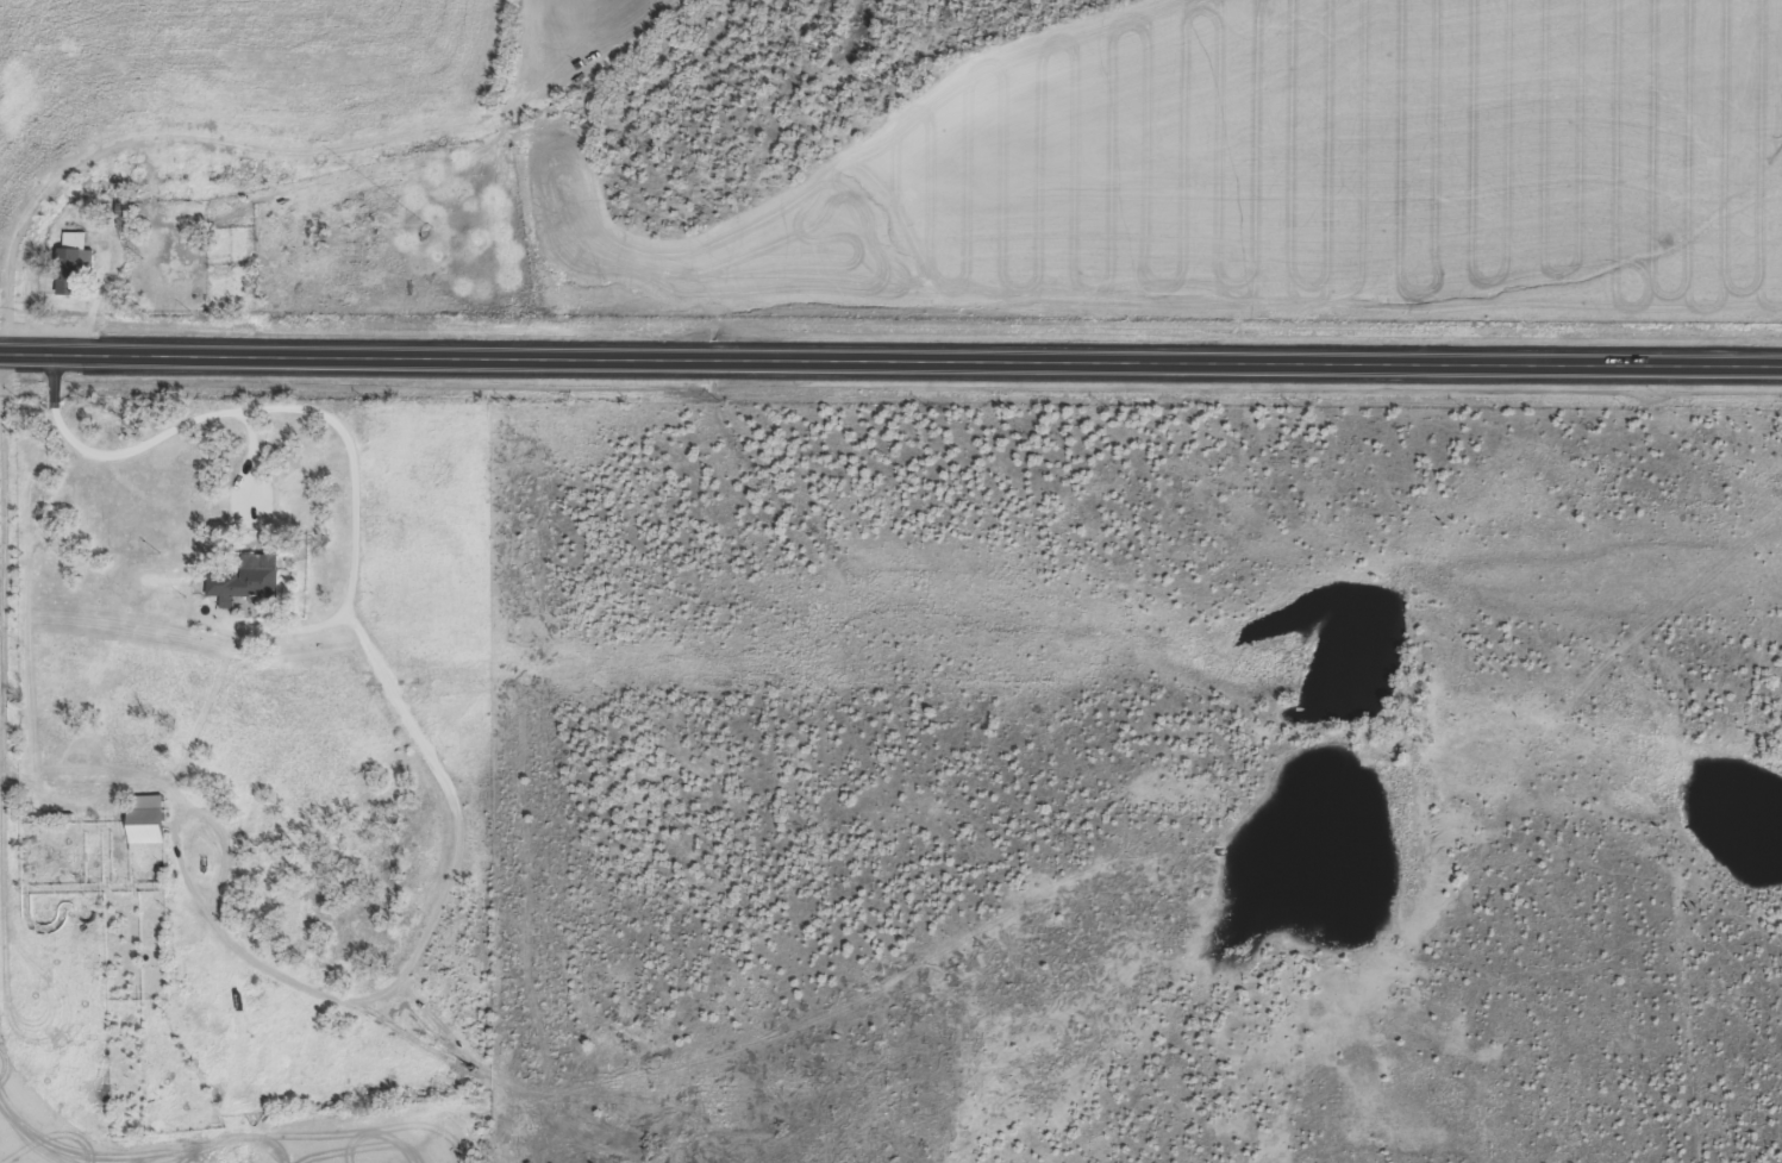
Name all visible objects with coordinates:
building: (67, 271)
road: (890, 370)

